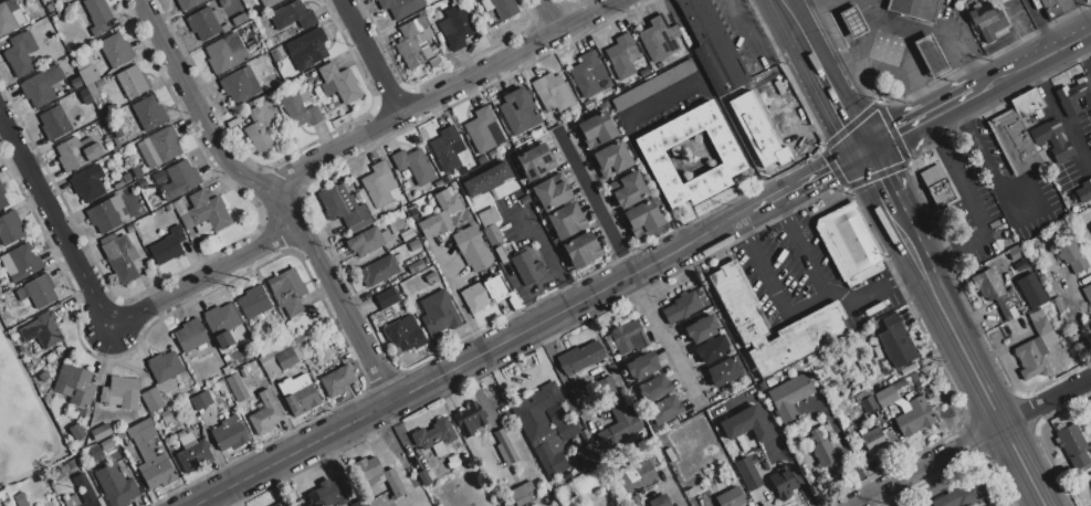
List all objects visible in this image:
building: (269, 3)
building: (189, 4)
building: (34, 7)
building: (400, 7)
building: (1056, 7)
building: (50, 8)
building: (501, 8)
building: (914, 9)
road: (1085, 9)
road: (816, 10)
road: (549, 14)
building: (97, 15)
building: (292, 15)
building: (9, 18)
building: (54, 18)
building: (984, 19)
building: (239, 20)
road: (794, 20)
building: (45, 21)
building: (852, 22)
road: (1014, 22)
building: (204, 23)
road: (1041, 23)
building: (455, 28)
building: (224, 29)
road: (927, 30)
road: (742, 35)
road: (783, 36)
building: (657, 40)
building: (412, 41)
road: (1056, 48)
building: (307, 49)
building: (116, 52)
road: (810, 52)
road: (851, 52)
building: (227, 53)
building: (20, 54)
road: (1082, 55)
road: (371, 56)
building: (622, 56)
building: (930, 56)
building: (434, 62)
building: (86, 72)
building: (587, 75)
road: (905, 76)
road: (999, 78)
road: (181, 80)
building: (742, 81)
building: (132, 82)
building: (75, 83)
building: (338, 83)
building: (653, 84)
building: (41, 86)
building: (241, 86)
building: (93, 91)
road: (440, 92)
building: (553, 94)
building: (1074, 95)
building: (85, 97)
road: (661, 97)
building: (1027, 103)
building: (588, 104)
road: (837, 106)
building: (298, 110)
building: (517, 112)
building: (149, 114)
road: (1060, 115)
road: (919, 120)
building: (54, 123)
building: (261, 126)
building: (596, 129)
building: (481, 130)
building: (117, 133)
building: (1052, 141)
building: (1013, 143)
building: (162, 145)
building: (447, 149)
traffic signals: (862, 151)
building: (75, 154)
building: (728, 157)
building: (611, 159)
building: (535, 161)
building: (412, 166)
road: (987, 167)
building: (136, 171)
building: (461, 171)
road: (819, 173)
building: (126, 177)
building: (179, 180)
building: (486, 180)
building: (87, 183)
building: (438, 183)
road: (878, 183)
building: (377, 185)
building: (117, 186)
building: (937, 186)
building: (628, 189)
building: (1084, 191)
building: (550, 192)
building: (2, 198)
building: (409, 198)
building: (524, 200)
road: (279, 201)
road: (595, 201)
building: (654, 201)
building: (401, 202)
road: (764, 203)
building: (168, 207)
building: (178, 207)
building: (345, 209)
building: (411, 209)
building: (144, 211)
building: (204, 212)
building: (106, 214)
building: (441, 214)
building: (489, 217)
building: (642, 218)
building: (566, 221)
road: (55, 224)
building: (396, 224)
building: (1090, 226)
building: (10, 228)
building: (129, 229)
road: (903, 233)
building: (407, 234)
building: (492, 234)
building: (367, 241)
building: (849, 243)
building: (167, 245)
building: (415, 245)
building: (472, 249)
road: (546, 249)
building: (580, 250)
building: (501, 254)
building: (1070, 255)
building: (119, 257)
building: (21, 262)
building: (1020, 265)
building: (415, 267)
building: (527, 267)
building: (378, 271)
building: (487, 271)
road: (203, 277)
road: (541, 284)
road: (774, 284)
building: (1030, 289)
building: (39, 291)
building: (287, 292)
building: (994, 292)
building: (482, 293)
building: (1087, 293)
building: (386, 298)
road: (852, 301)
building: (254, 302)
building: (514, 302)
building: (1058, 305)
building: (681, 307)
building: (438, 314)
road: (1070, 316)
building: (221, 319)
building: (821, 319)
building: (623, 321)
building: (1088, 328)
road: (353, 329)
building: (700, 329)
building: (42, 330)
building: (191, 336)
building: (402, 337)
building: (626, 338)
road: (667, 338)
building: (224, 340)
building: (896, 341)
building: (1036, 347)
building: (712, 349)
building: (878, 351)
building: (280, 358)
road: (471, 358)
building: (579, 358)
building: (642, 366)
building: (165, 367)
building: (863, 368)
building: (231, 370)
building: (224, 371)
building: (723, 371)
road: (978, 379)
building: (336, 380)
building: (905, 381)
building: (220, 383)
building: (192, 384)
building: (235, 387)
building: (74, 388)
building: (653, 389)
building: (223, 391)
building: (119, 392)
building: (298, 394)
building: (157, 396)
building: (862, 396)
building: (885, 396)
building: (789, 397)
building: (909, 397)
building: (201, 400)
building: (868, 404)
building: (245, 405)
building: (220, 407)
building: (664, 409)
building: (615, 413)
building: (265, 414)
building: (914, 417)
building: (167, 418)
building: (190, 418)
building: (470, 420)
park: (23, 421)
building: (746, 424)
building: (544, 428)
building: (76, 431)
building: (101, 432)
building: (434, 433)
building: (119, 435)
building: (229, 435)
building: (187, 441)
building: (873, 441)
road: (971, 442)
building: (106, 444)
building: (1072, 445)
building: (820, 446)
building: (504, 447)
building: (439, 450)
building: (93, 454)
building: (670, 455)
road: (787, 455)
building: (150, 456)
building: (193, 456)
building: (587, 458)
building: (71, 464)
building: (368, 471)
building: (746, 473)
building: (637, 476)
building: (424, 477)
building: (392, 483)
building: (783, 483)
building: (115, 485)
building: (82, 493)
building: (328, 494)
building: (523, 494)
building: (962, 494)
road: (232, 497)
building: (730, 497)
building: (634, 500)
building: (659, 500)
building: (22, 502)
building: (360, 503)
building: (279, 505)

